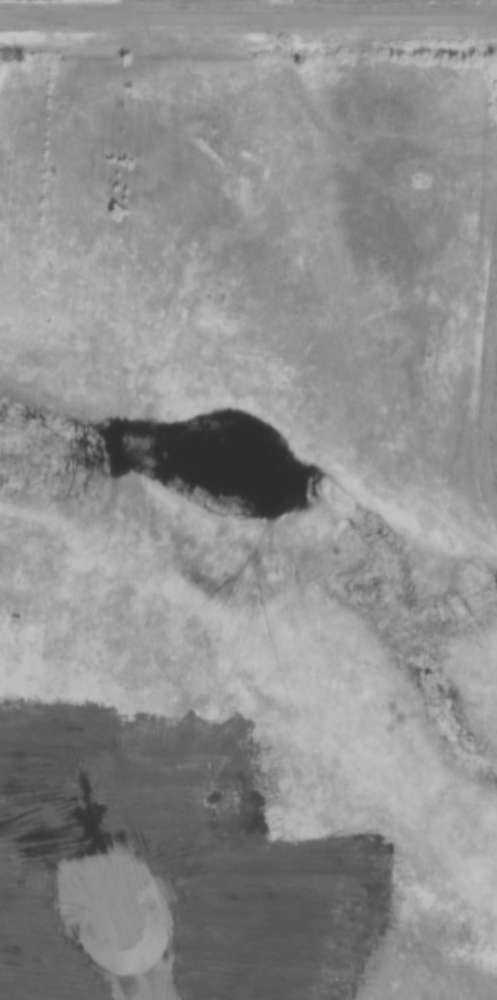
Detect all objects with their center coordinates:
road: (248, 14)

